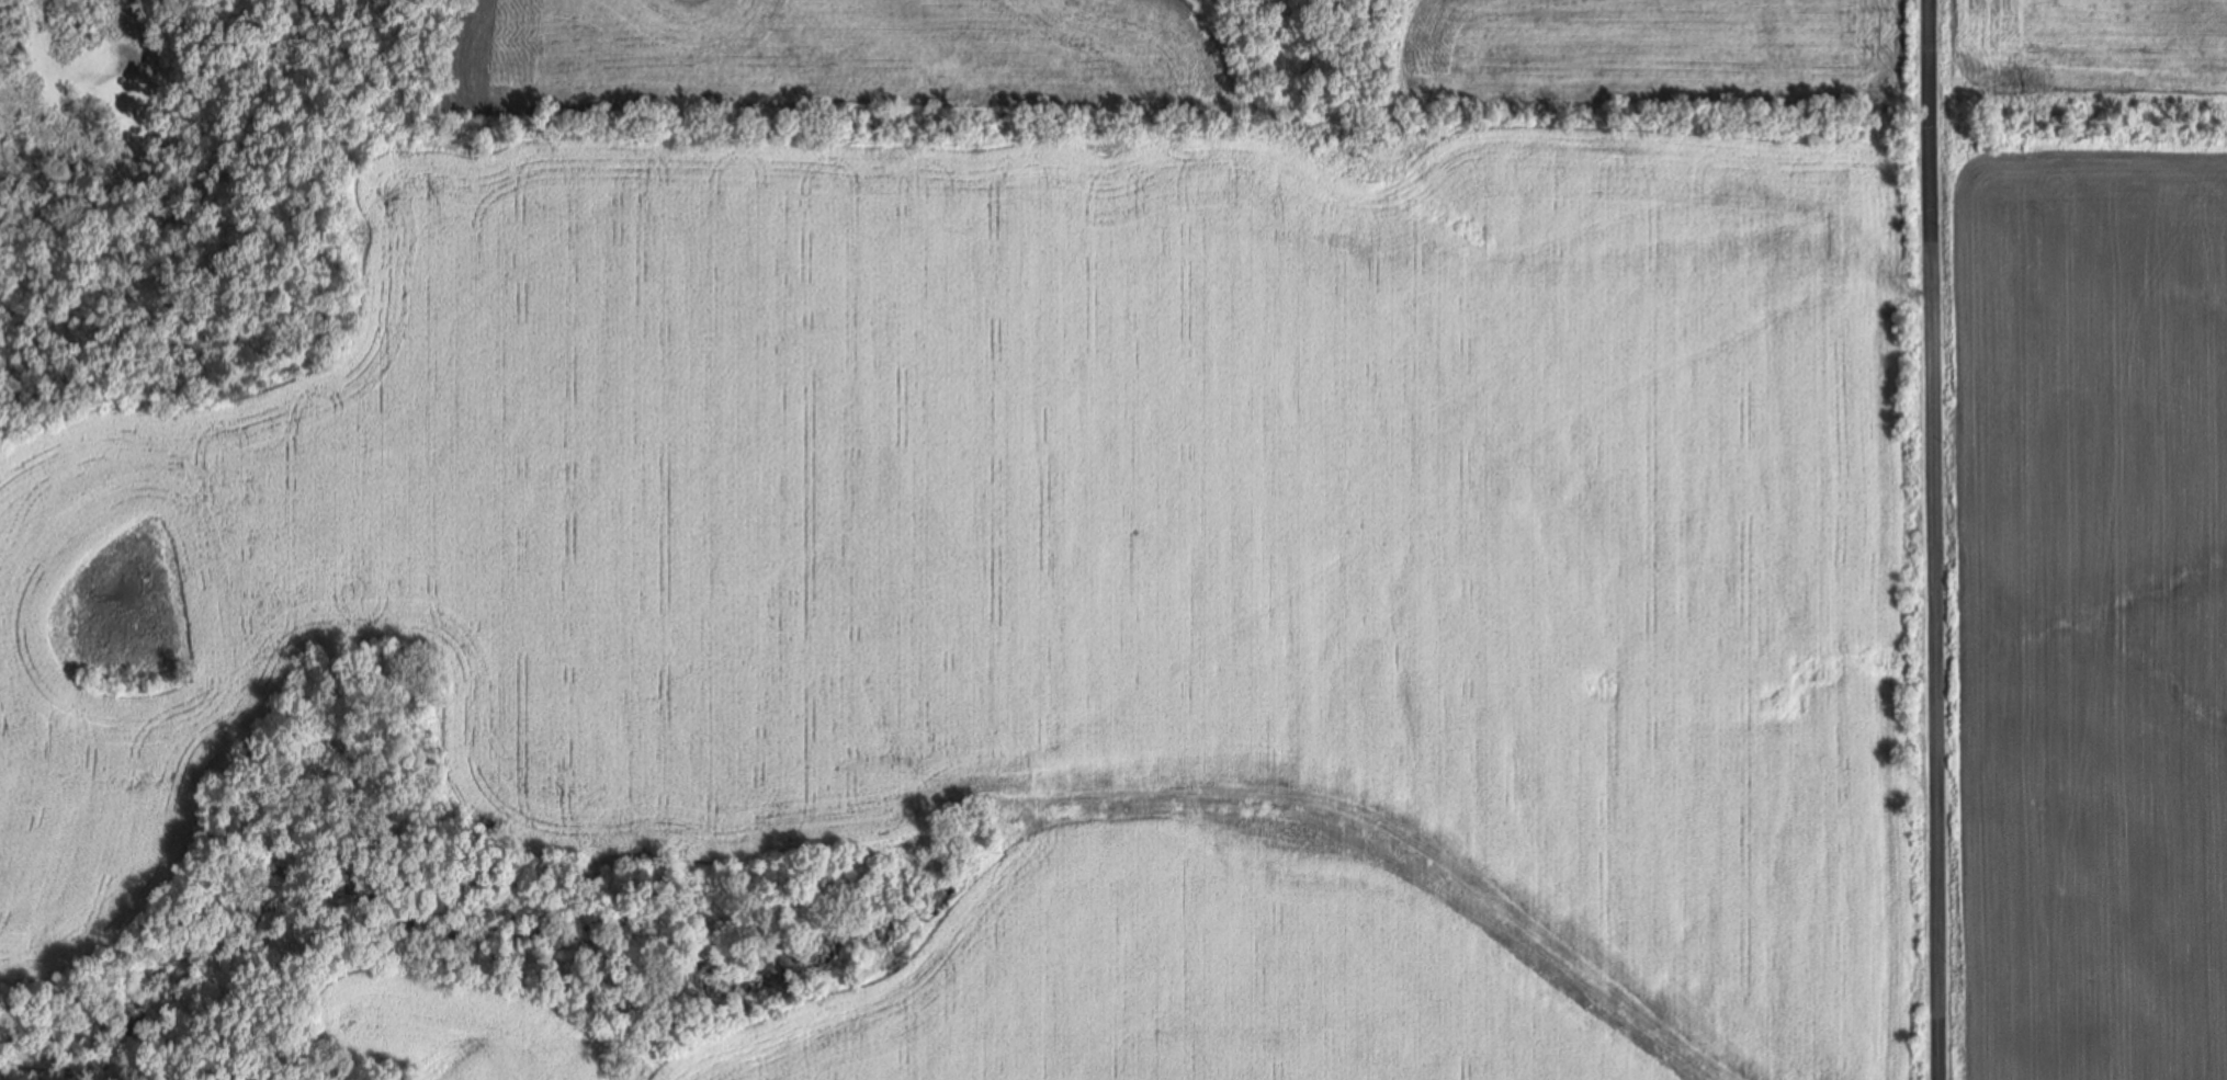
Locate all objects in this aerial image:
road: (1928, 539)

